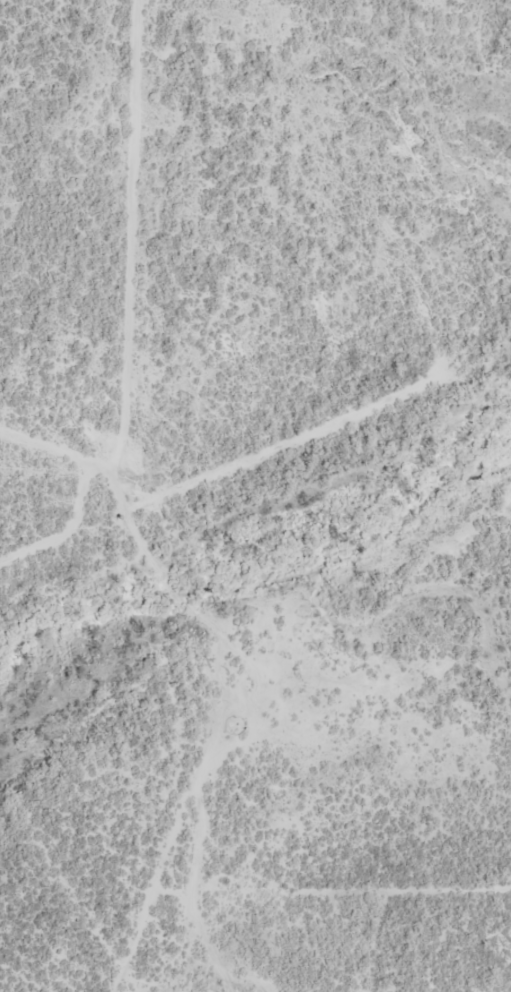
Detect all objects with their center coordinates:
road: (99, 250)
road: (178, 866)

